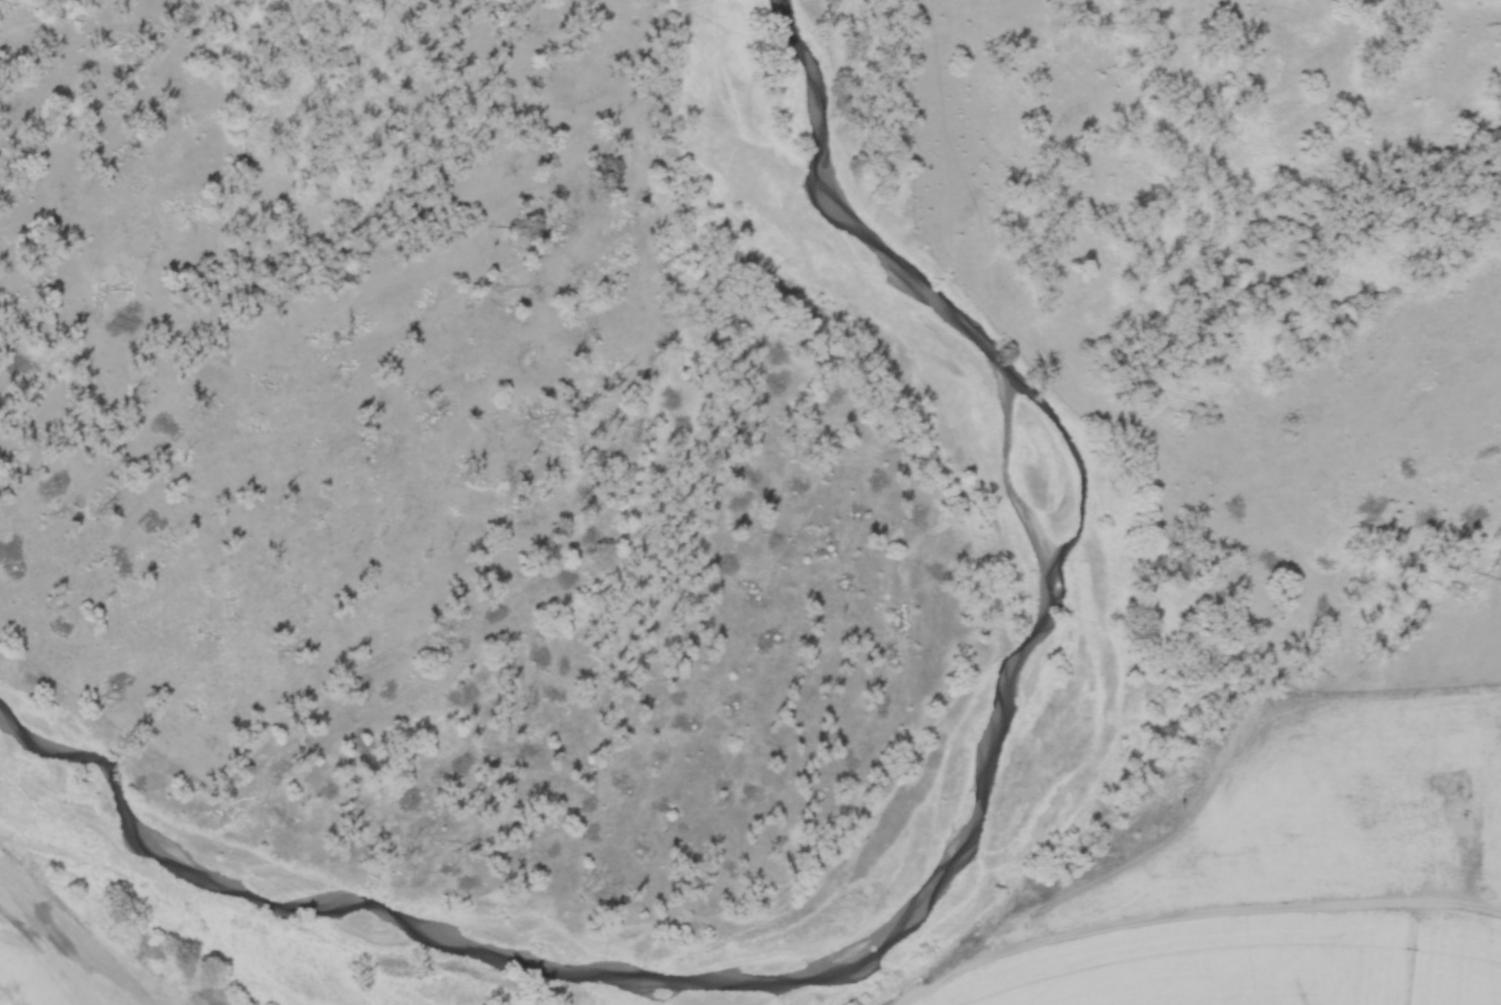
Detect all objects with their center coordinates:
river: (1075, 456)
river: (111, 775)
river: (975, 792)
river: (274, 870)

